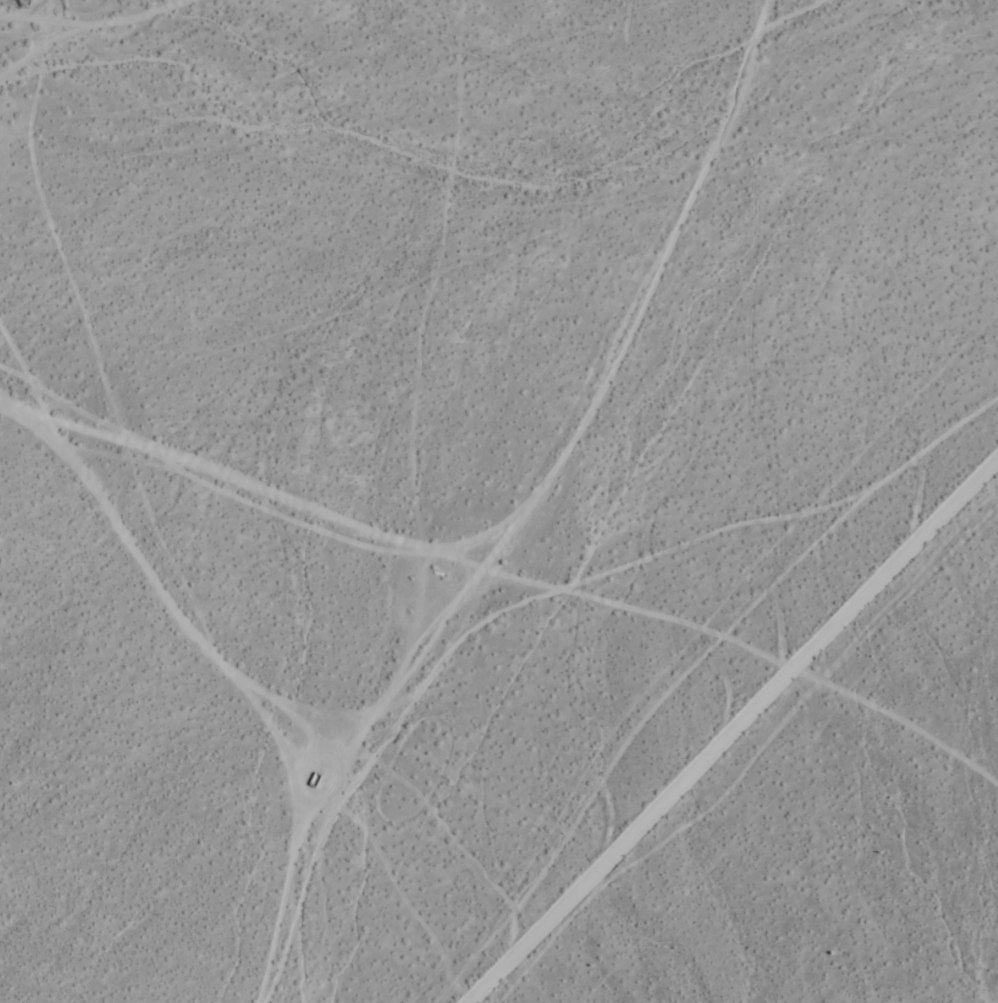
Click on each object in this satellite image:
road: (394, 534)
road: (897, 720)
road: (729, 729)

